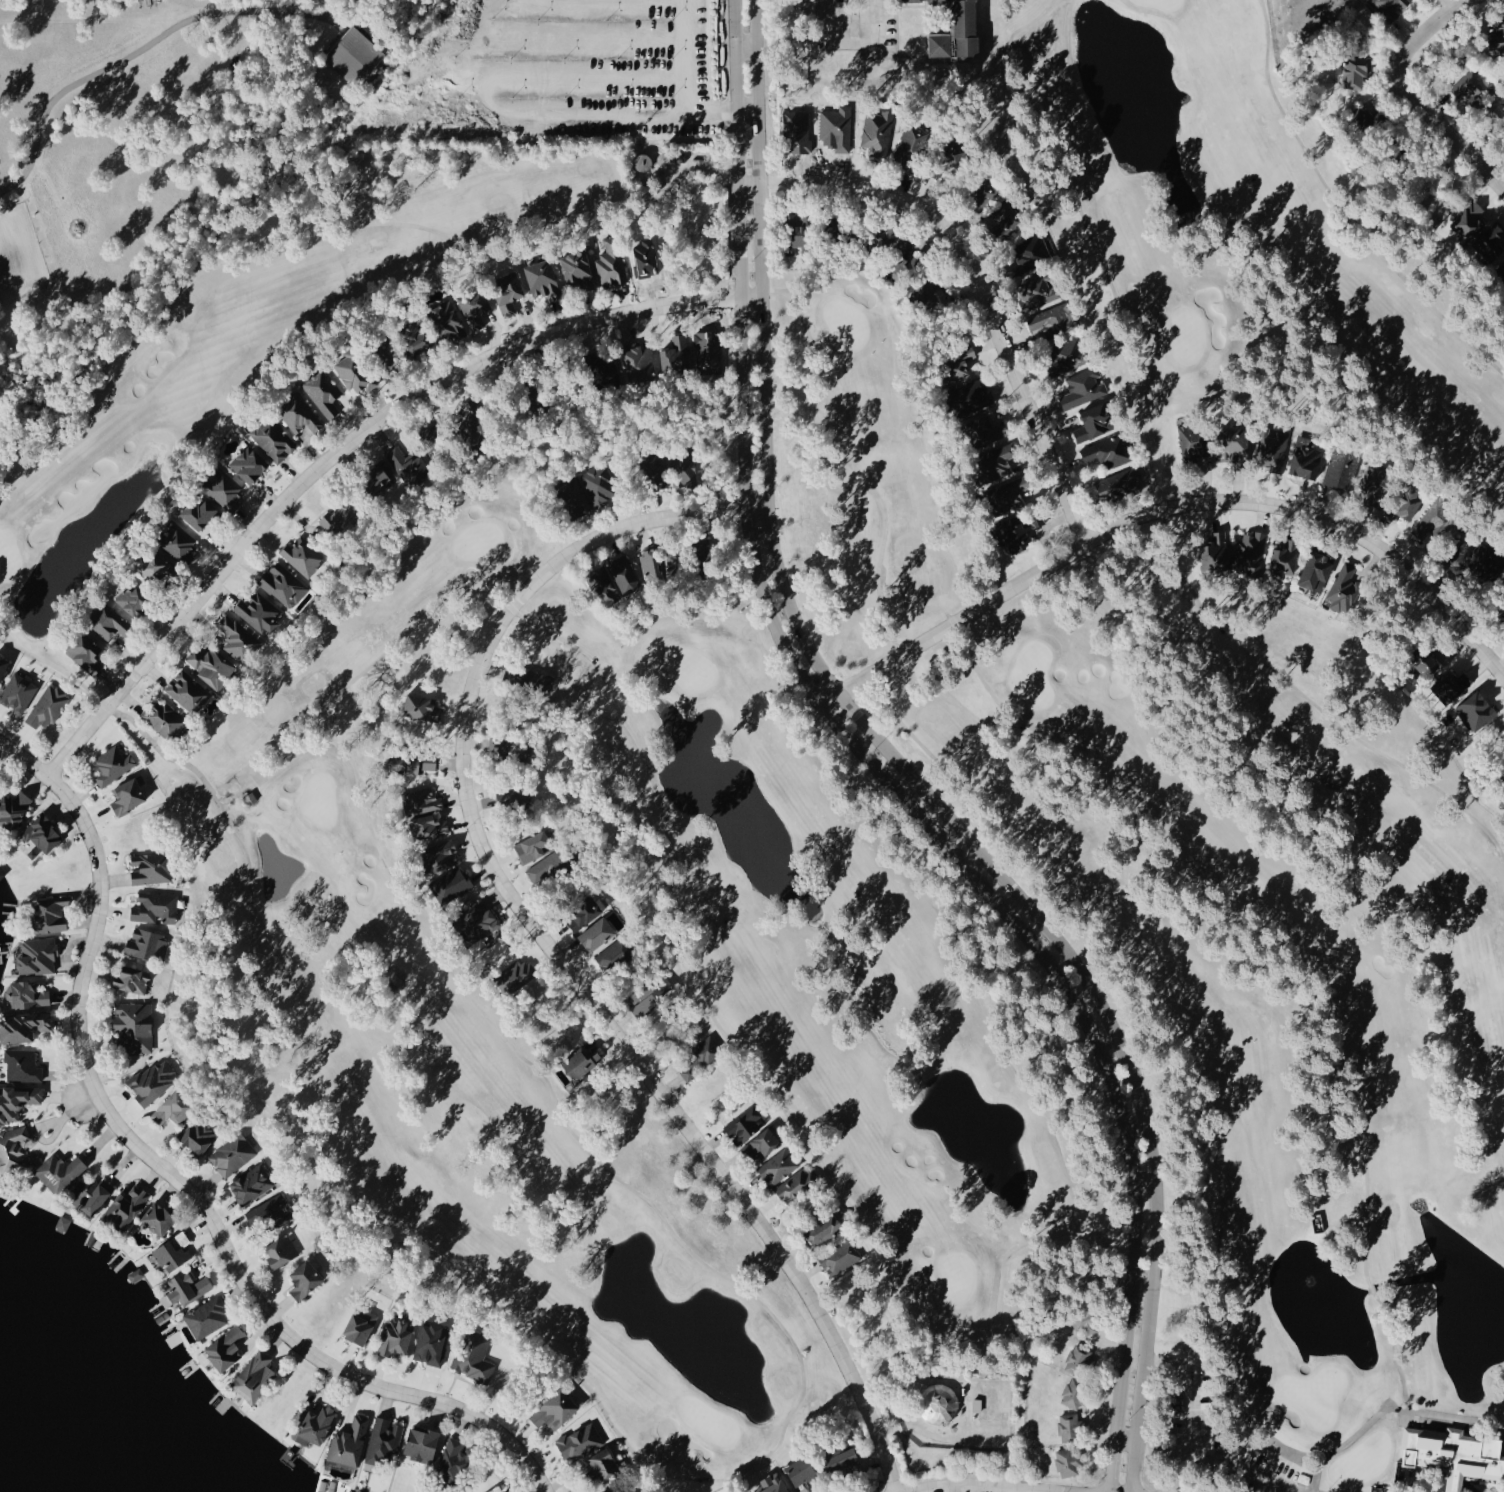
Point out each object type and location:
building: (911, 0)
building: (937, 0)
building: (1389, 8)
building: (967, 27)
building: (1497, 39)
road: (853, 43)
building: (941, 43)
building: (354, 55)
building: (1356, 71)
building: (1471, 84)
road: (1412, 93)
building: (1495, 110)
building: (877, 132)
building: (912, 141)
building: (954, 152)
building: (985, 186)
building: (1007, 218)
building: (1469, 223)
park: (1238, 231)
building: (797, 232)
building: (1490, 242)
building: (1032, 252)
building: (610, 263)
building: (577, 269)
building: (543, 279)
road: (983, 283)
building: (1039, 290)
building: (508, 291)
building: (927, 293)
building: (475, 303)
building: (447, 321)
building: (1052, 322)
building: (418, 335)
building: (676, 353)
building: (1067, 354)
building: (957, 362)
building: (639, 363)
building: (353, 372)
building: (1083, 388)
building: (322, 390)
building: (970, 397)
building: (298, 414)
building: (471, 419)
building: (1094, 423)
building: (0, 426)
building: (987, 431)
building: (273, 439)
building: (1193, 442)
road: (346, 443)
building: (1236, 445)
building: (1271, 450)
building: (1109, 451)
building: (1305, 458)
building: (995, 461)
building: (249, 464)
building: (408, 465)
building: (685, 467)
building: (1342, 467)
building: (655, 470)
building: (376, 477)
building: (1121, 482)
building: (599, 485)
building: (224, 487)
building: (1010, 493)
building: (574, 495)
building: (1411, 495)
road: (1172, 507)
building: (198, 513)
building: (340, 517)
building: (1434, 520)
building: (1017, 534)
building: (177, 542)
building: (705, 550)
building: (1217, 553)
building: (1250, 555)
building: (302, 556)
building: (1284, 558)
building: (1485, 560)
building: (155, 566)
building: (1316, 569)
building: (625, 575)
building: (282, 585)
building: (603, 585)
building: (1343, 588)
building: (132, 600)
building: (258, 613)
building: (108, 622)
building: (236, 638)
building: (85, 654)
building: (1425, 662)
building: (3, 666)
building: (209, 667)
building: (538, 682)
building: (1452, 686)
building: (187, 691)
building: (17, 693)
building: (47, 707)
building: (421, 708)
building: (1475, 710)
building: (162, 718)
building: (412, 762)
building: (111, 766)
road: (894, 767)
building: (128, 795)
building: (507, 797)
building: (421, 802)
building: (14, 809)
building: (428, 827)
building: (42, 834)
building: (535, 847)
building: (441, 856)
building: (151, 867)
building: (547, 868)
building: (1, 875)
building: (451, 885)
park: (826, 889)
building: (155, 907)
building: (50, 914)
building: (584, 914)
building: (476, 919)
building: (597, 935)
building: (146, 942)
road: (550, 947)
building: (37, 955)
building: (613, 956)
building: (515, 975)
building: (131, 979)
building: (25, 993)
building: (651, 996)
building: (22, 1025)
building: (134, 1026)
building: (583, 1062)
building: (22, 1065)
building: (152, 1081)
building: (17, 1101)
building: (174, 1107)
building: (745, 1124)
building: (198, 1134)
building: (762, 1143)
building: (13, 1147)
building: (232, 1154)
building: (778, 1166)
building: (59, 1171)
road: (174, 1174)
building: (251, 1183)
building: (795, 1184)
building: (90, 1194)
building: (126, 1205)
building: (269, 1213)
building: (157, 1218)
building: (824, 1230)
building: (280, 1249)
building: (172, 1250)
building: (840, 1257)
building: (305, 1278)
building: (185, 1289)
building: (207, 1317)
building: (361, 1323)
building: (396, 1335)
building: (432, 1343)
building: (225, 1348)
building: (474, 1356)
building: (1077, 1358)
building: (254, 1376)
road: (1187, 1387)
building: (1074, 1393)
building: (940, 1403)
building: (555, 1409)
building: (316, 1424)
building: (1068, 1427)
building: (382, 1439)
building: (579, 1441)
building: (349, 1442)
building: (421, 1443)
building: (1454, 1454)
building: (841, 1455)
road: (1211, 1459)
building: (452, 1461)
building: (1067, 1462)
building: (604, 1465)
building: (801, 1474)
building: (774, 1484)
road: (987, 1484)
road: (1451, 1487)
road: (1436, 1488)
road: (1463, 1490)
building: (620, 1491)

